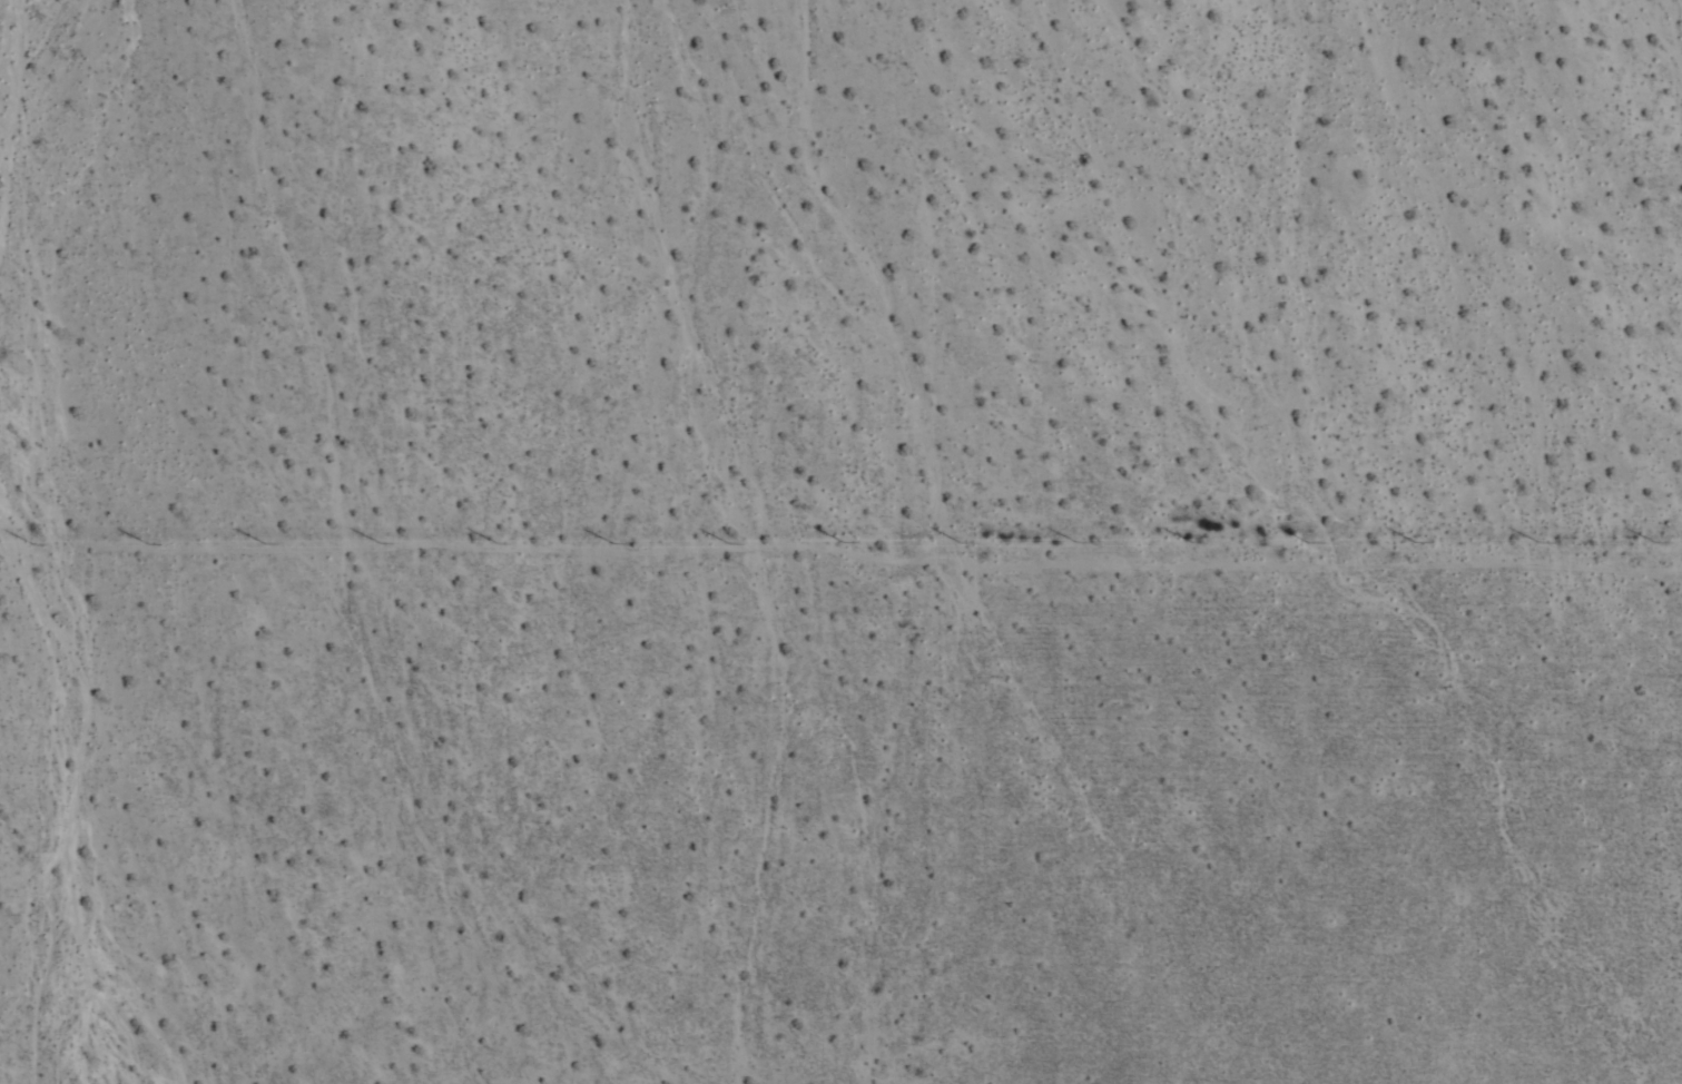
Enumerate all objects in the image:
road: (1212, 571)

